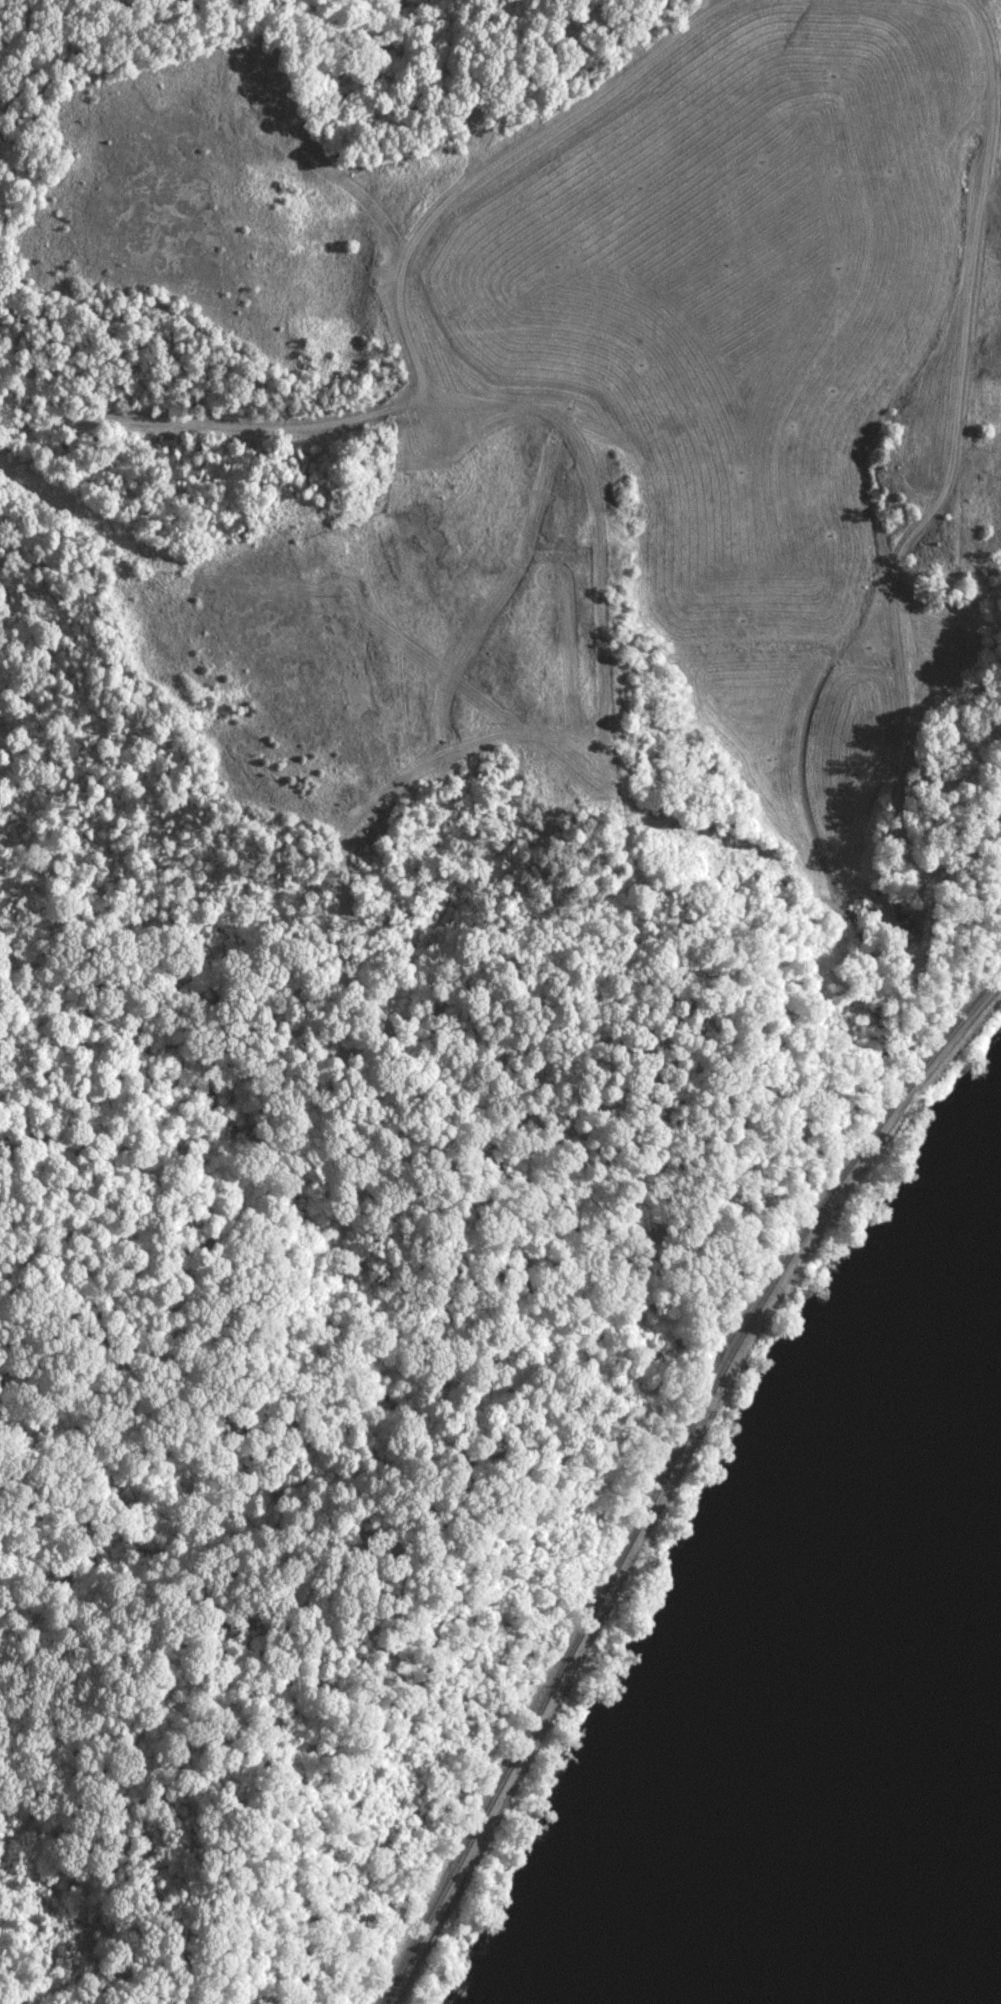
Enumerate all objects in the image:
railway: (665, 1474)
river: (943, 1881)

